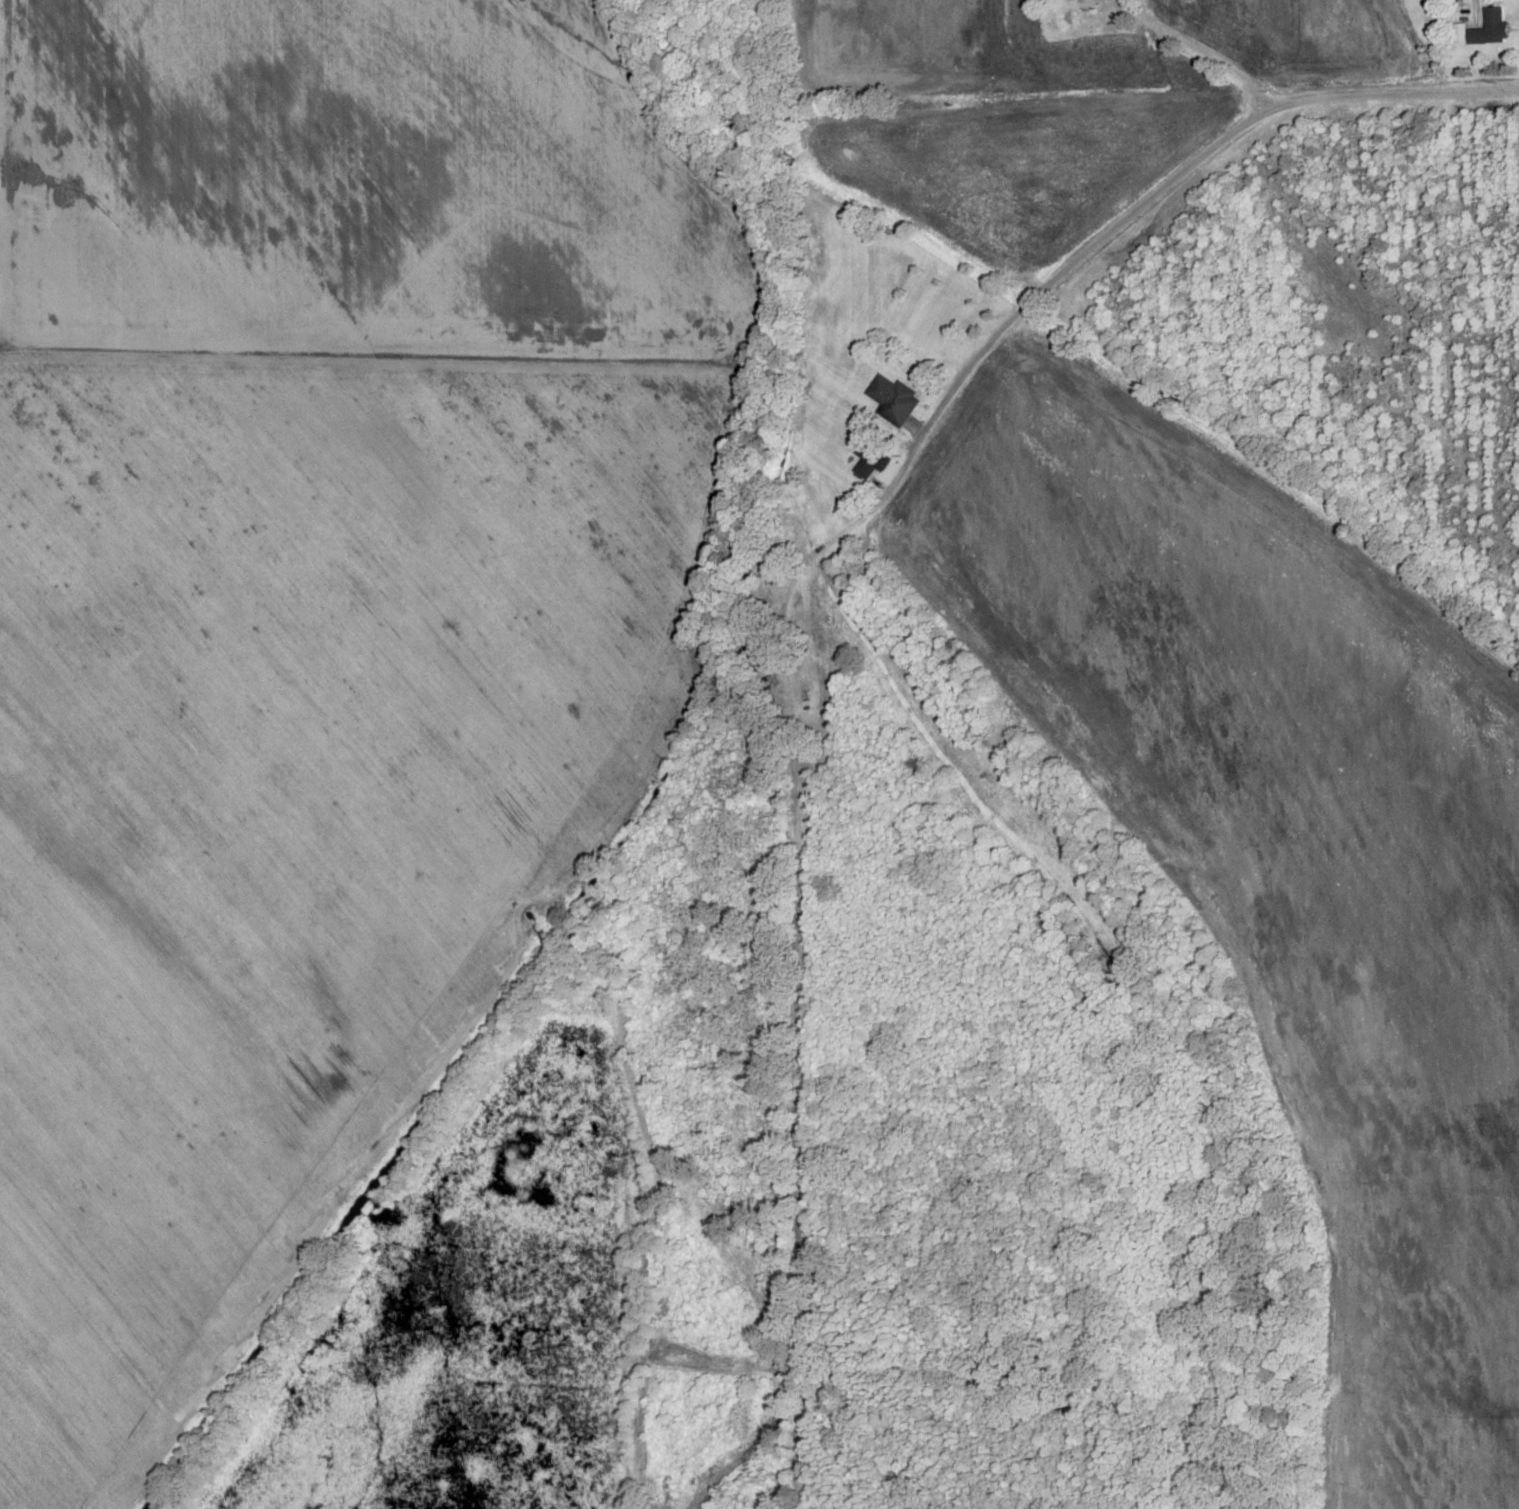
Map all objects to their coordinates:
building: (1060, 18)
building: (1491, 26)
road: (1150, 195)
building: (892, 398)
building: (869, 460)
road: (1356, 1203)

